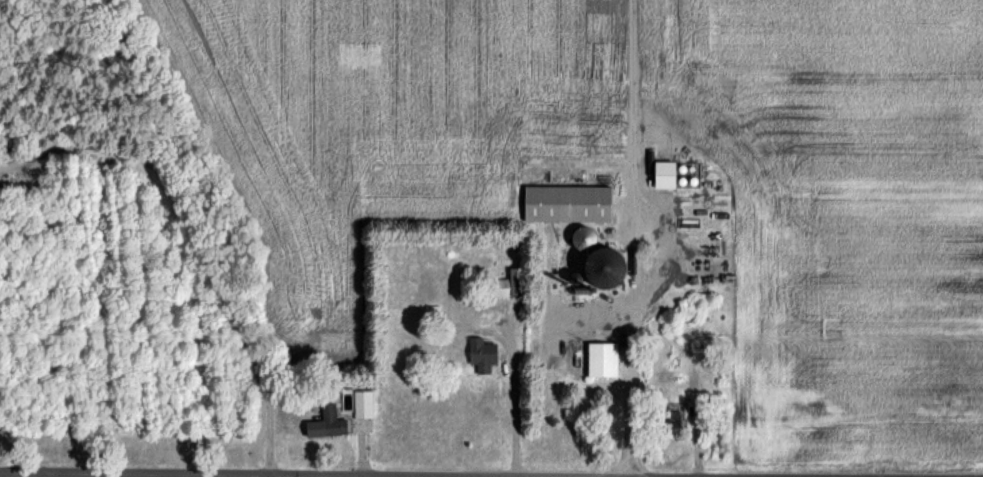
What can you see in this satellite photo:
road: (632, 93)
building: (658, 175)
building: (562, 204)
building: (577, 237)
road: (198, 244)
building: (593, 268)
building: (501, 286)
road: (632, 332)
building: (478, 354)
building: (597, 360)
building: (360, 405)
road: (507, 406)
building: (668, 421)
building: (322, 424)
road: (48, 475)
road: (133, 475)

